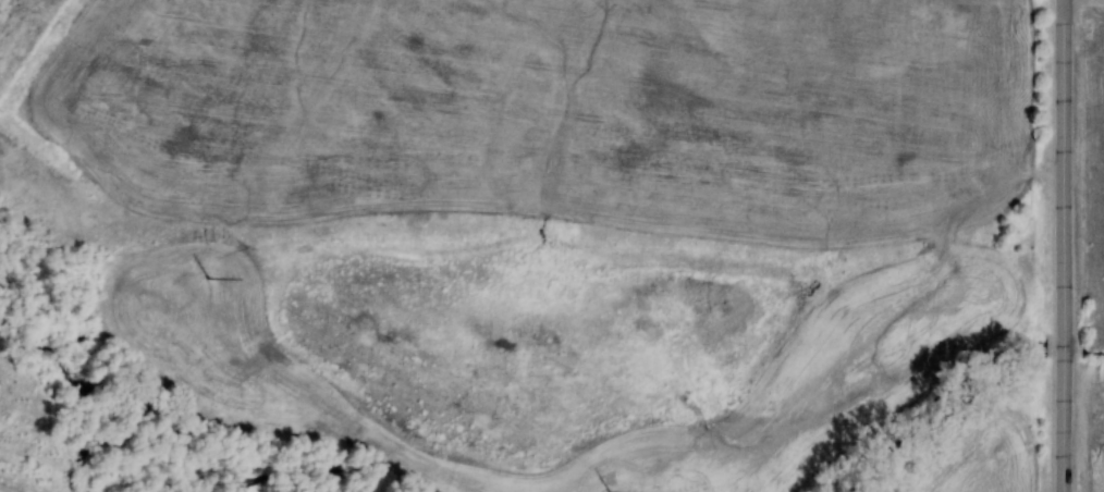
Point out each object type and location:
road: (1064, 246)
power tower: (208, 276)
power tower: (608, 491)

